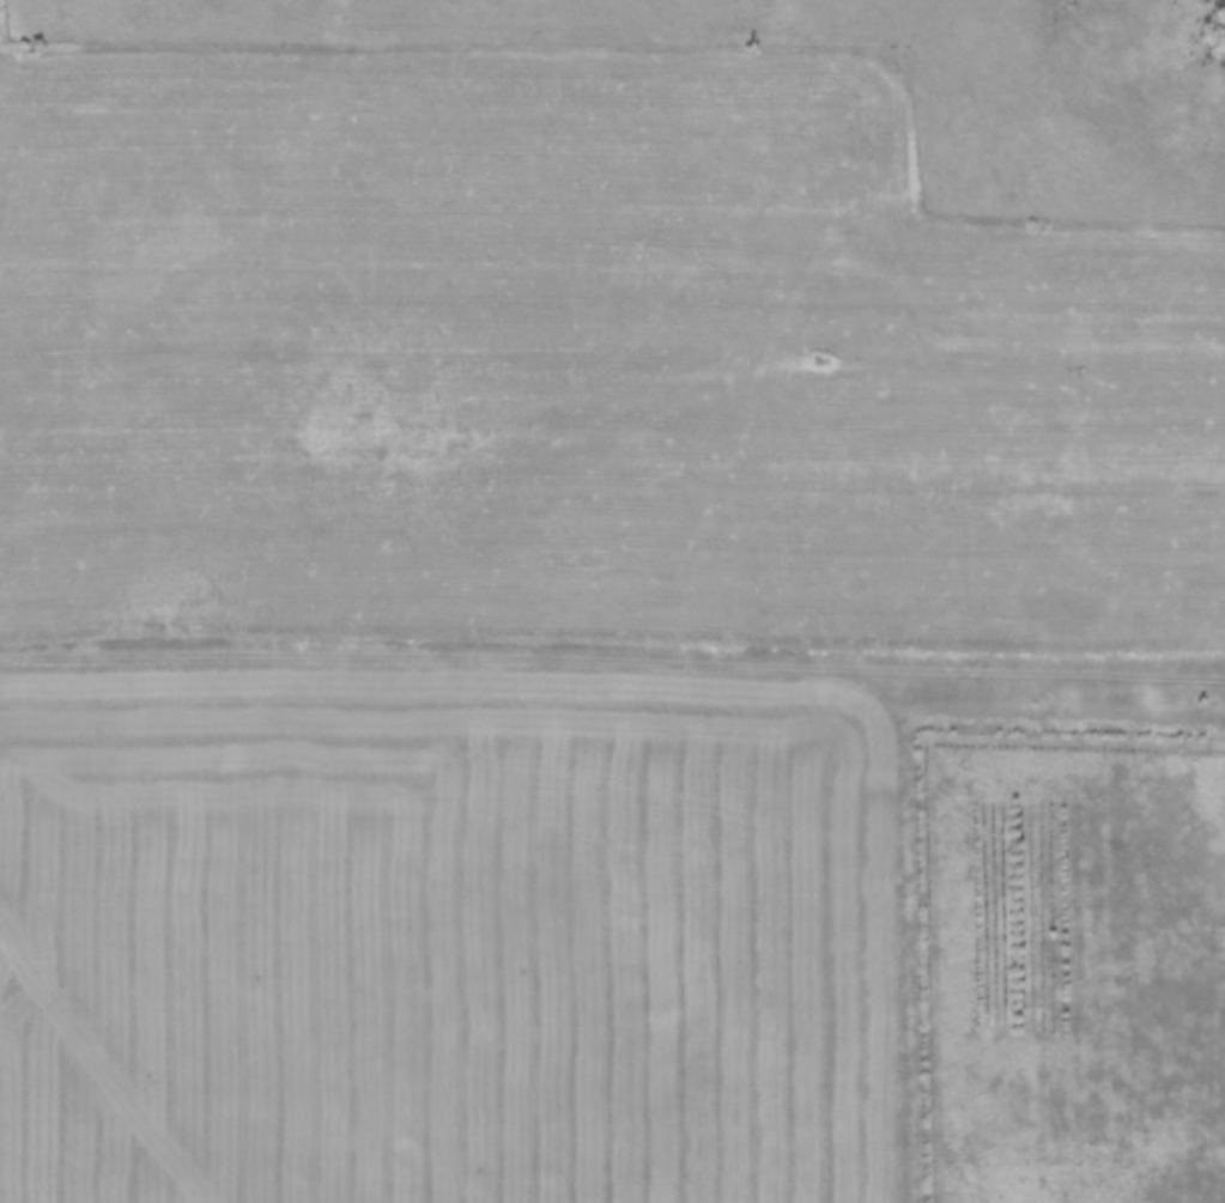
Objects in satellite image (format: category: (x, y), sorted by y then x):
road: (612, 676)

